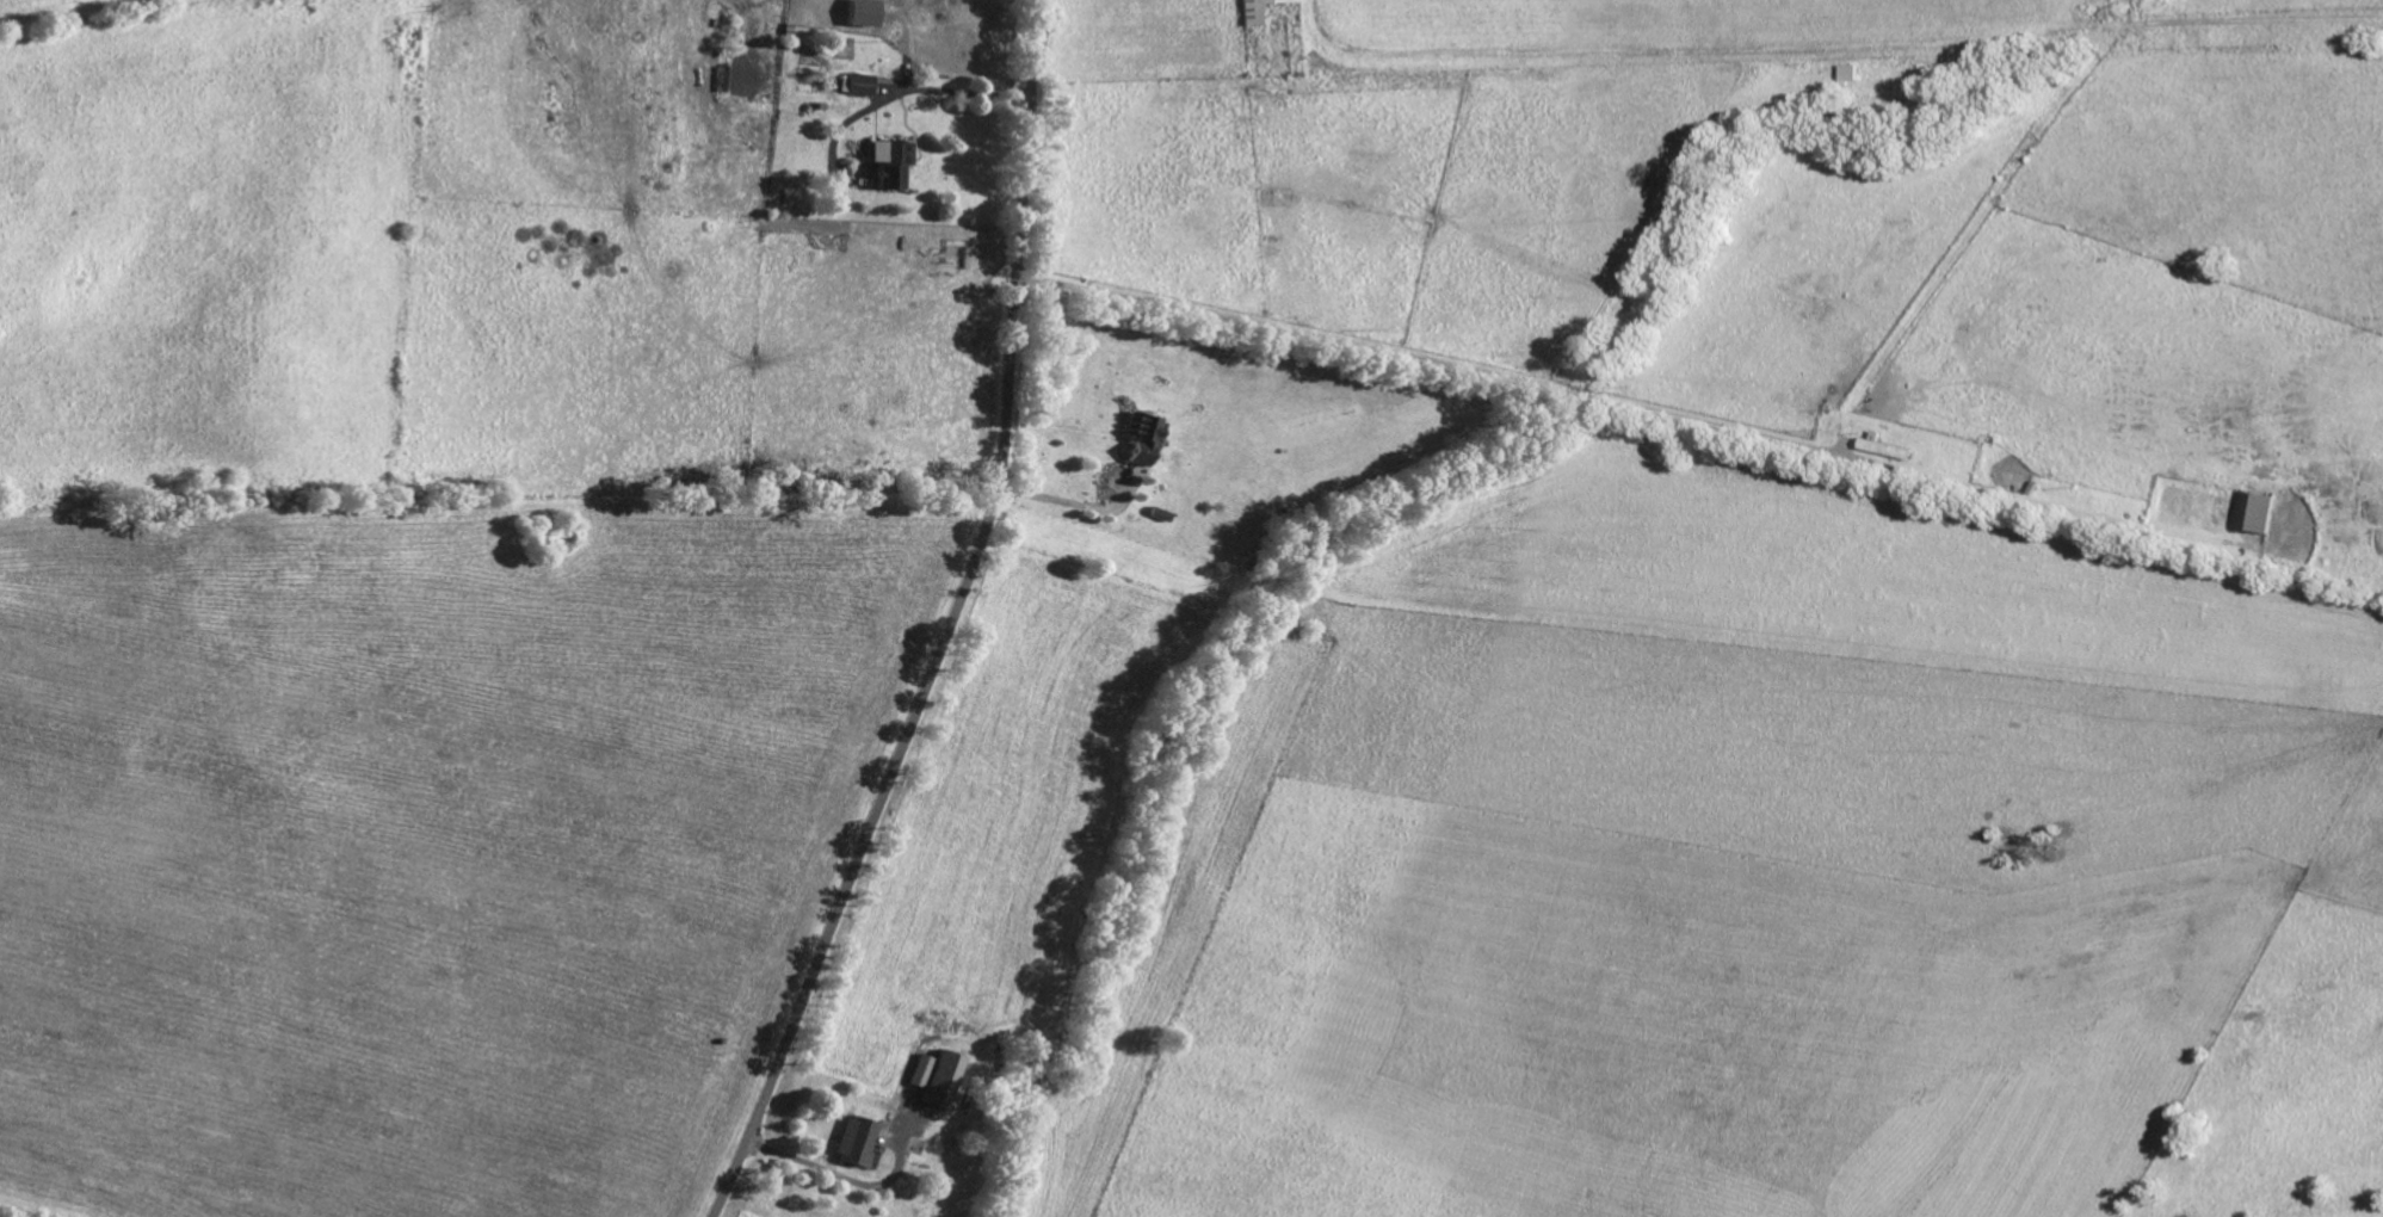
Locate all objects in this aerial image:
building: (1261, 10)
building: (865, 14)
building: (1848, 74)
building: (863, 86)
building: (895, 166)
road: (1427, 357)
building: (1143, 438)
building: (1884, 450)
building: (2255, 514)
road: (951, 625)
building: (921, 1070)
building: (943, 1079)
building: (856, 1141)
road: (840, 1174)

